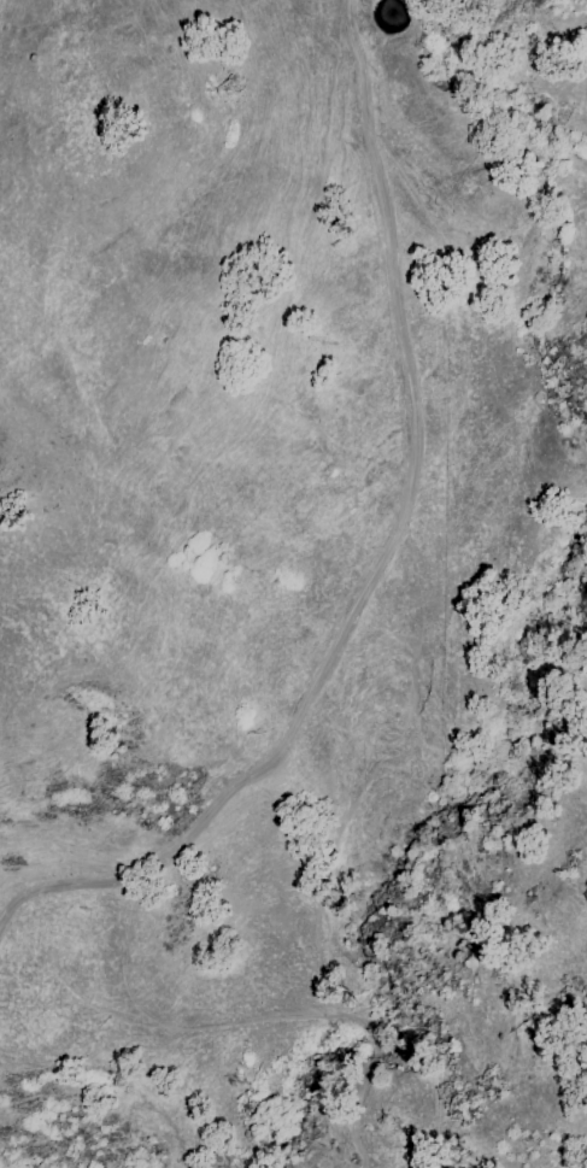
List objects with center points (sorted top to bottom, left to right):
road: (385, 552)

